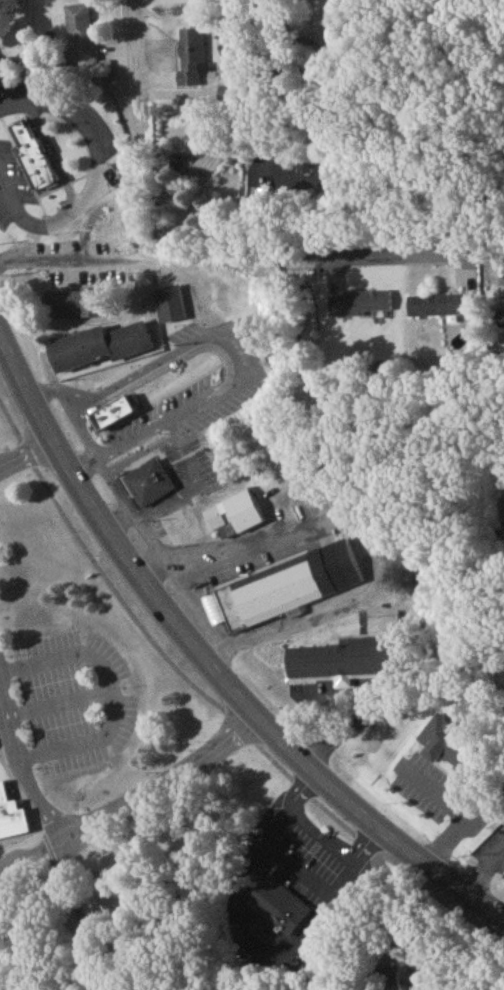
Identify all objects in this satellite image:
building: (80, 38)
road: (132, 50)
building: (190, 60)
road: (19, 90)
road: (88, 159)
building: (304, 180)
road: (8, 206)
road: (410, 254)
road: (54, 257)
building: (72, 308)
building: (358, 308)
building: (439, 310)
building: (501, 312)
road: (233, 347)
building: (97, 350)
building: (196, 353)
building: (101, 408)
building: (102, 411)
road: (26, 455)
road: (186, 479)
building: (146, 487)
road: (124, 505)
road: (111, 512)
building: (210, 523)
road: (358, 536)
building: (282, 592)
road: (208, 665)
building: (344, 665)
road: (112, 698)
parking lot: (72, 705)
road: (59, 708)
building: (459, 759)
road: (448, 818)
building: (10, 822)
road: (90, 831)
road: (33, 862)
building: (277, 910)

